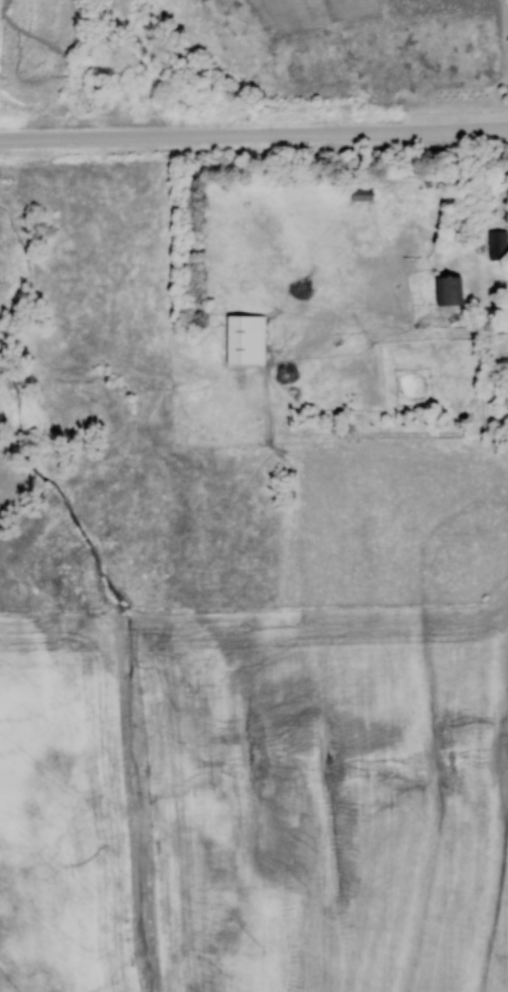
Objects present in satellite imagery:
road: (254, 133)
building: (497, 244)
building: (447, 289)
building: (244, 339)

